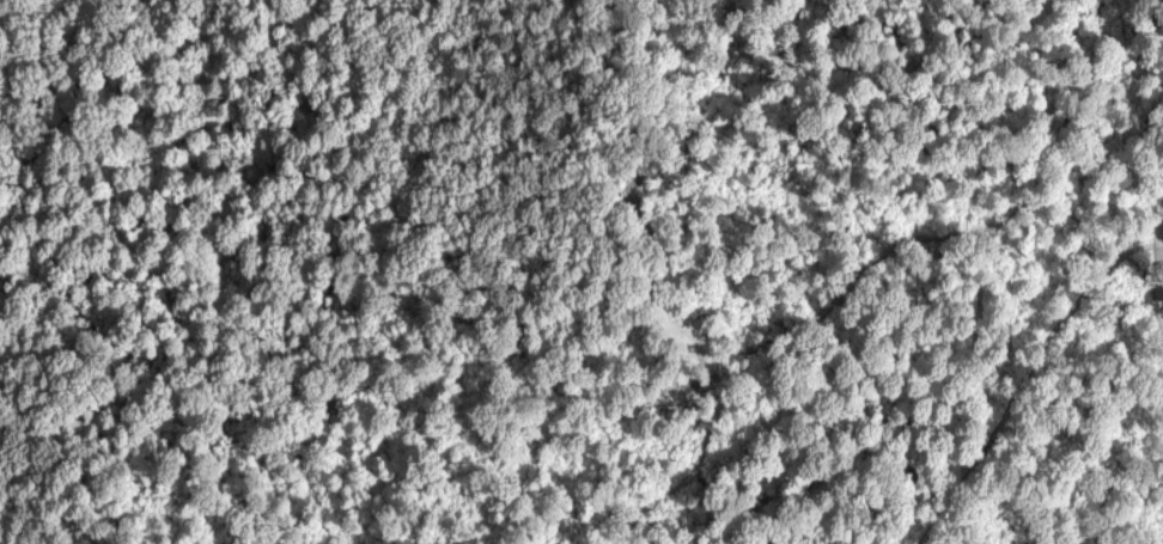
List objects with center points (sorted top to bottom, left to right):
road: (1141, 508)

